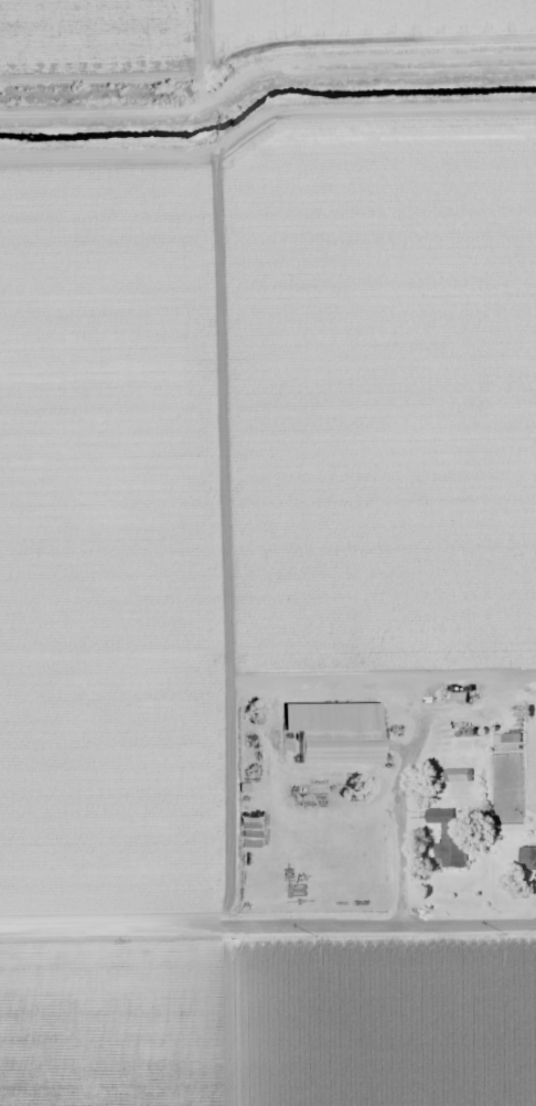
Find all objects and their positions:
building: (333, 732)
building: (447, 839)
building: (527, 858)
road: (268, 916)

